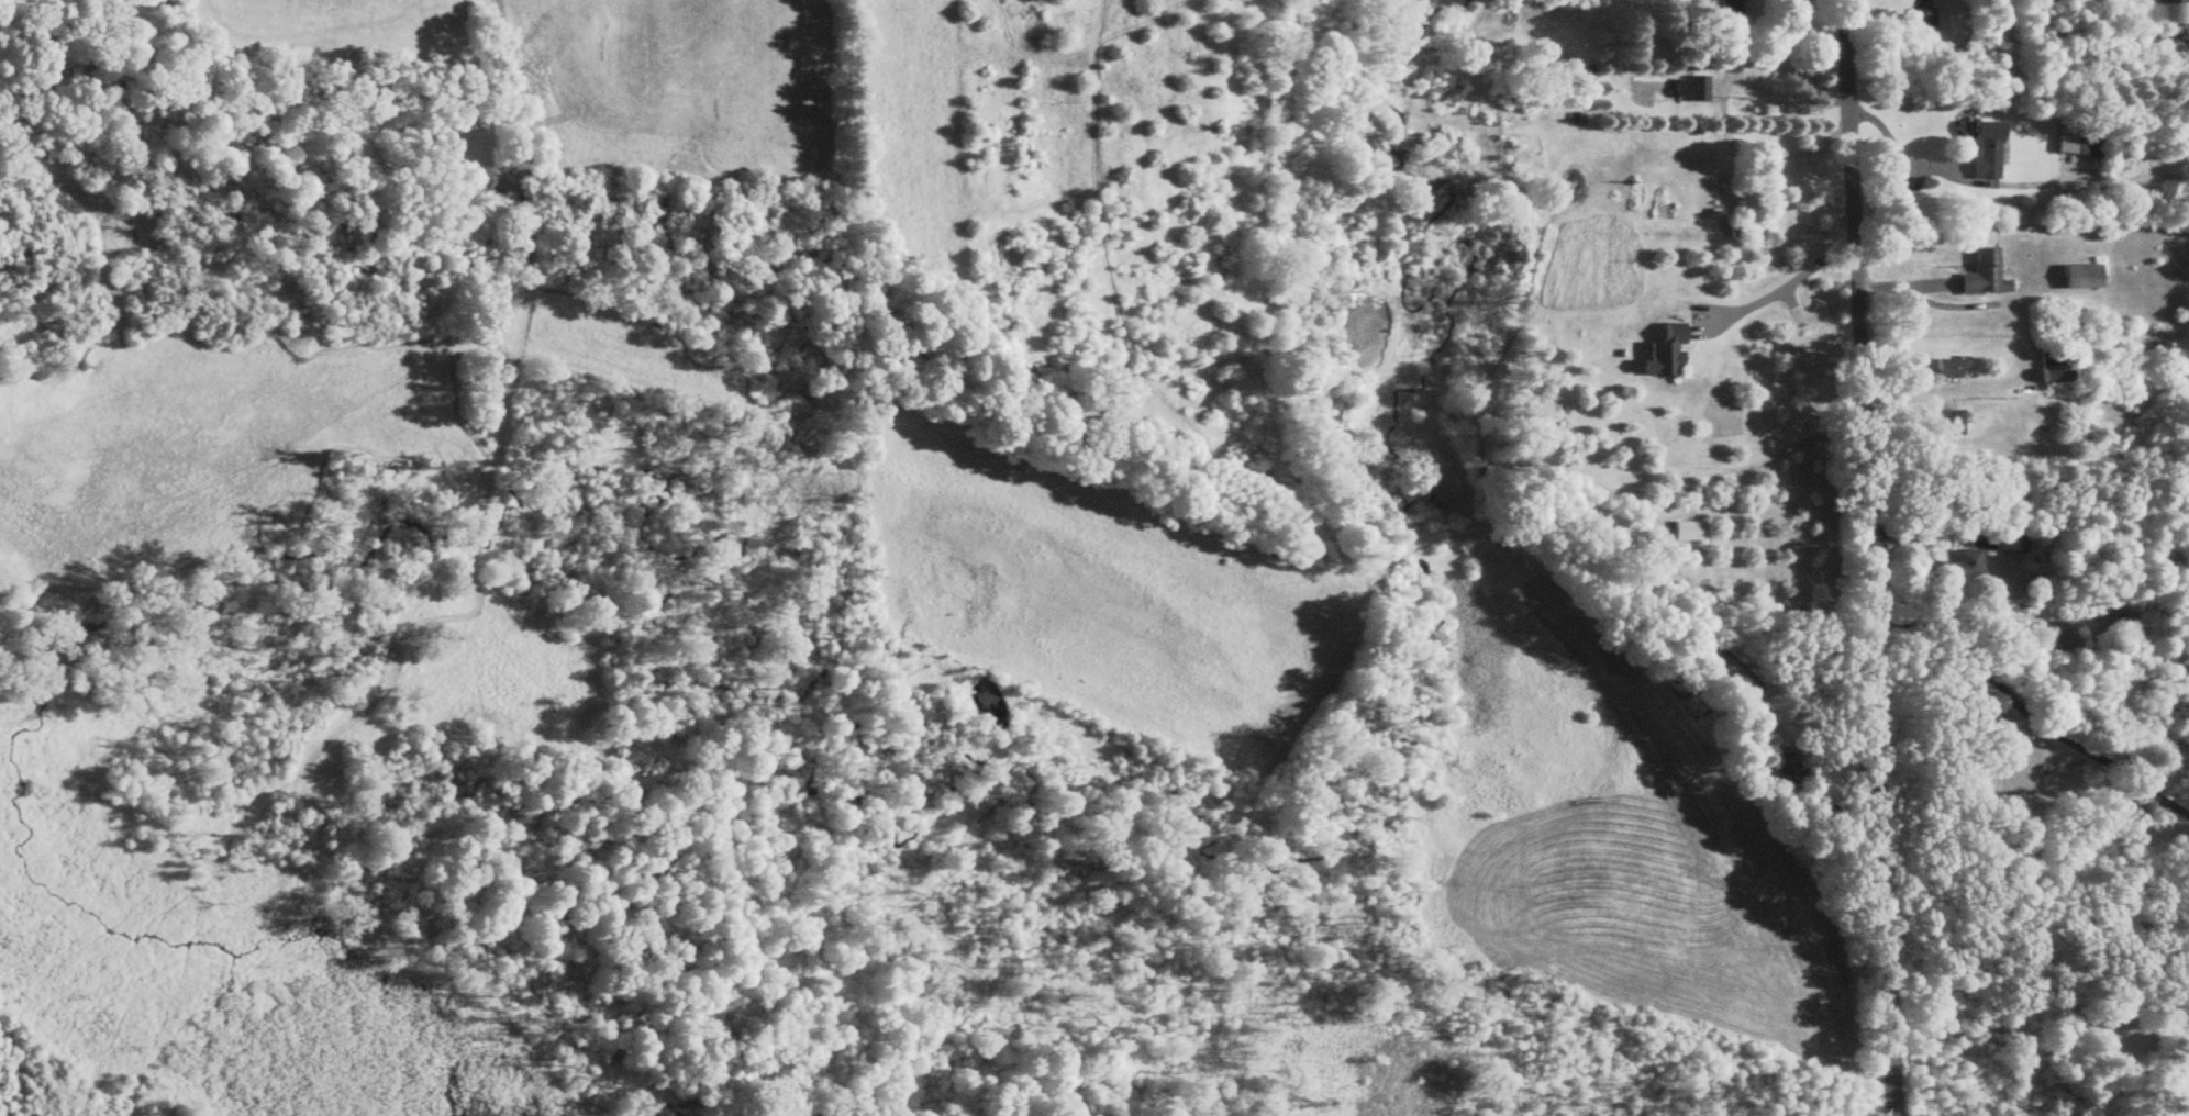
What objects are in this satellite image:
building: (1725, 10)
building: (2171, 13)
building: (1920, 20)
road: (1781, 51)
building: (1697, 90)
building: (2080, 136)
road: (1799, 137)
building: (1982, 149)
road: (1898, 150)
building: (1747, 213)
building: (1982, 277)
building: (2079, 278)
road: (1780, 286)
road: (2026, 339)
building: (1662, 355)
building: (2053, 365)
building: (1949, 369)
building: (1946, 424)
road: (2029, 498)
building: (1686, 532)
road: (1927, 538)
building: (2007, 545)
road: (1870, 557)
building: (1962, 566)
building: (1735, 681)
road: (2030, 712)
road: (1808, 779)
building: (1771, 781)

